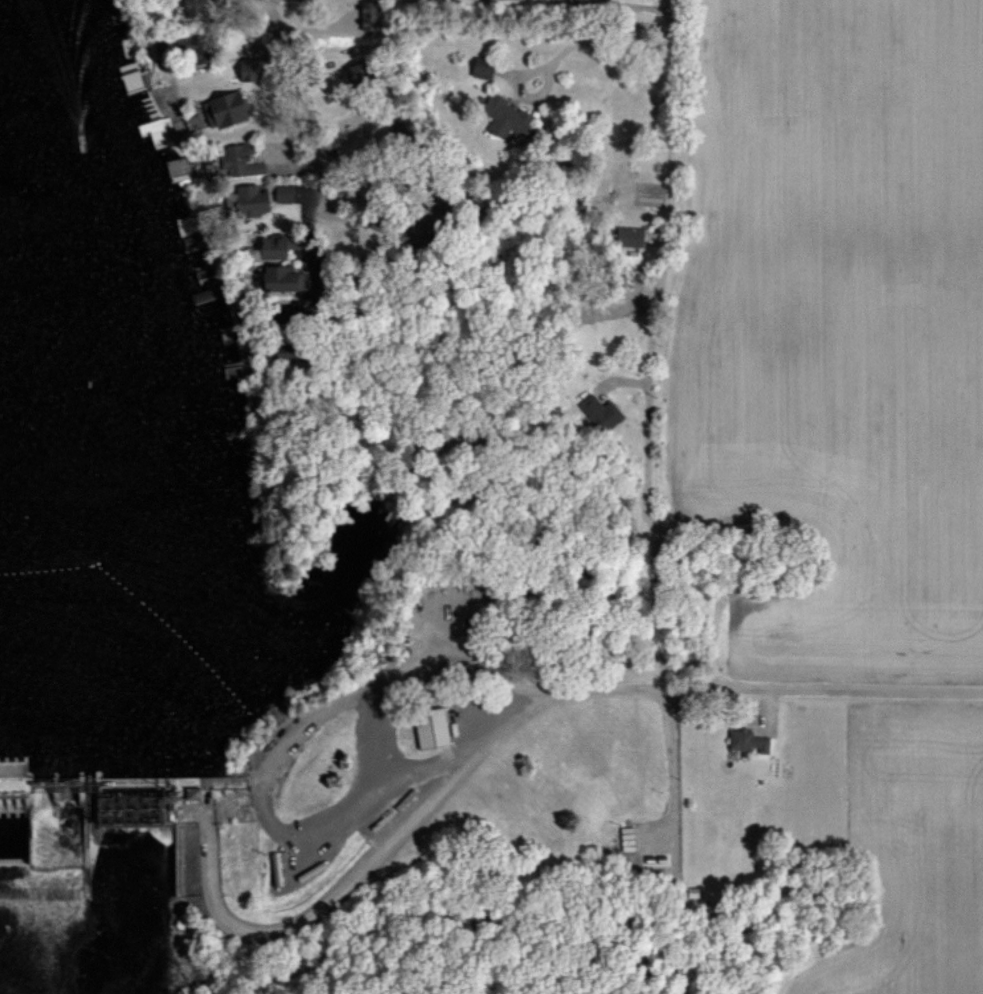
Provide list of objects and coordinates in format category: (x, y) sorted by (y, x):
road: (619, 4)
building: (192, 8)
building: (481, 69)
building: (246, 70)
road: (304, 104)
building: (223, 110)
building: (505, 117)
building: (238, 162)
building: (177, 168)
building: (282, 193)
building: (250, 200)
building: (229, 201)
building: (628, 236)
building: (271, 247)
building: (251, 249)
building: (277, 278)
road: (655, 310)
building: (600, 412)
road: (383, 674)
road: (757, 688)
building: (430, 728)
building: (746, 740)
road: (661, 755)
building: (190, 793)
river: (29, 824)
road: (383, 842)
road: (638, 865)

